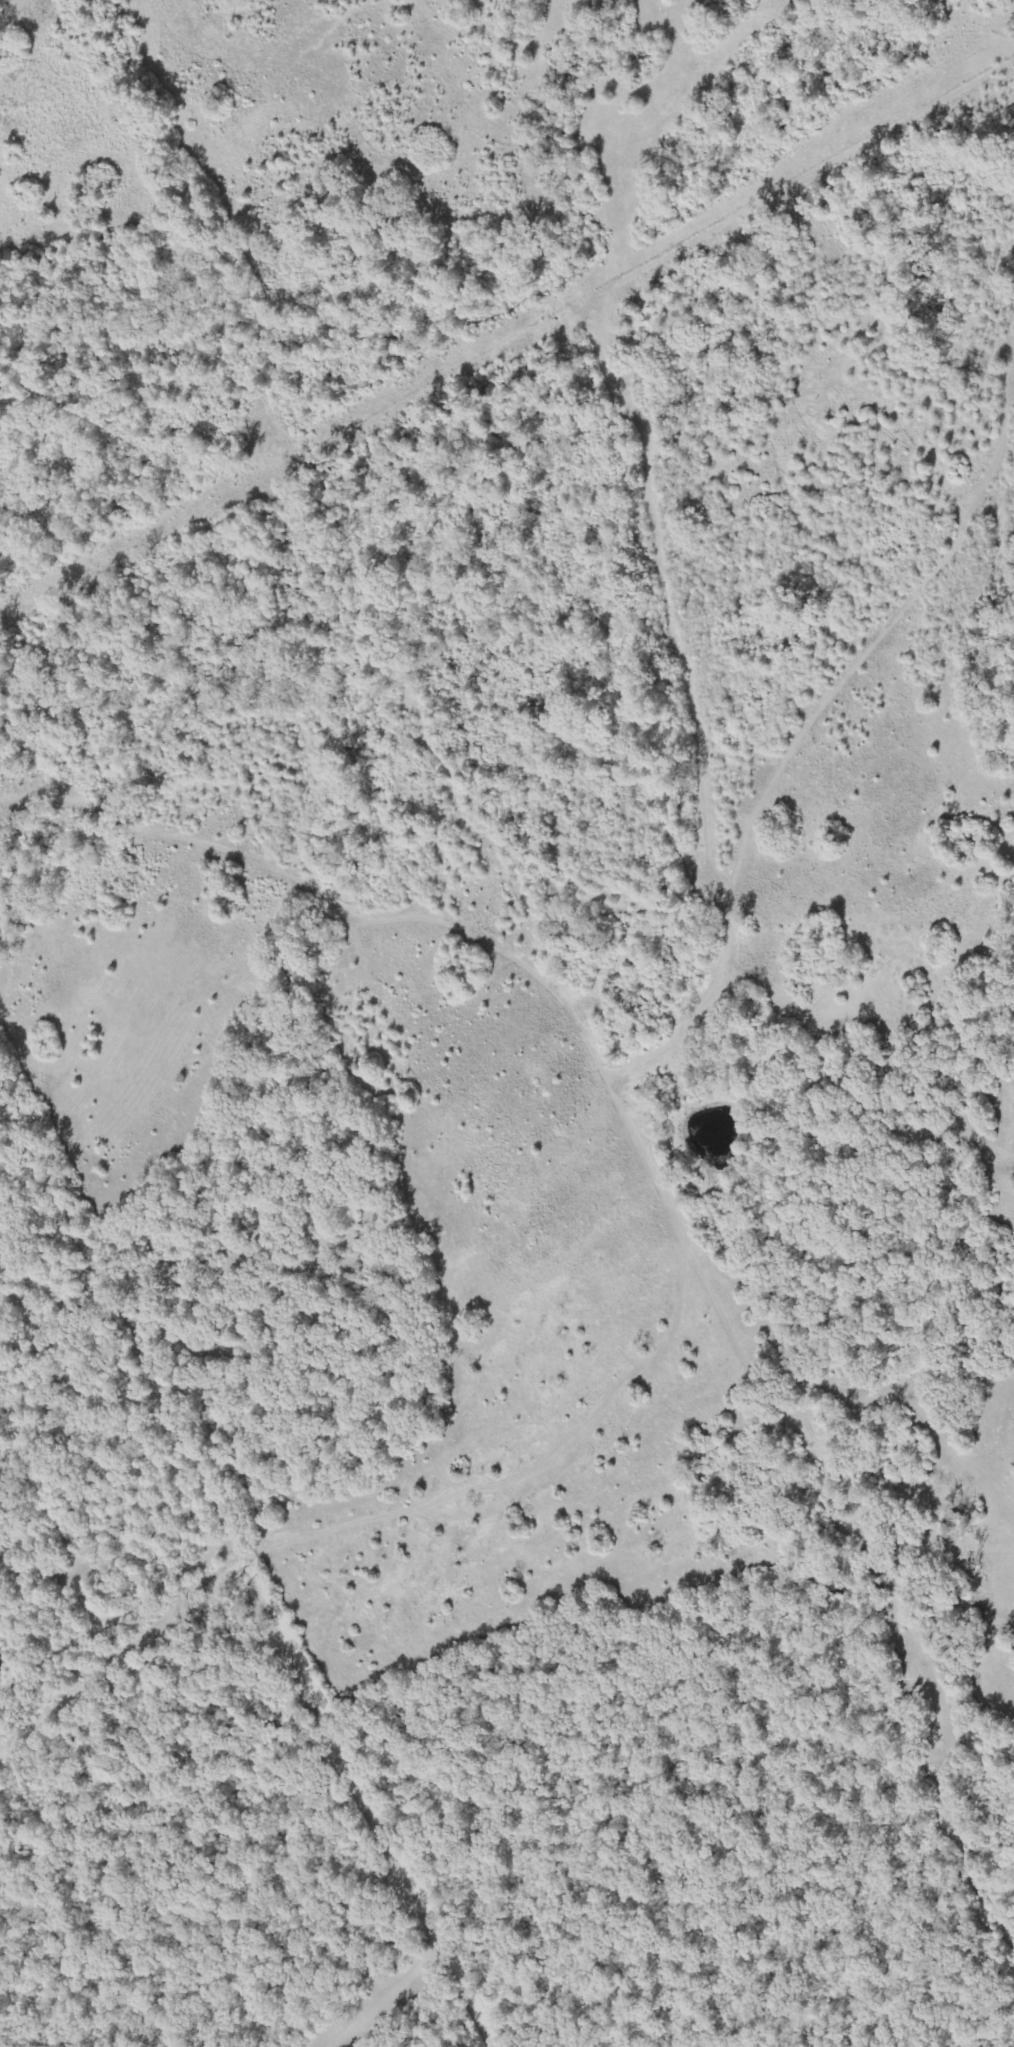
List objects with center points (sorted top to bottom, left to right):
road: (108, 1892)
road: (313, 1922)

